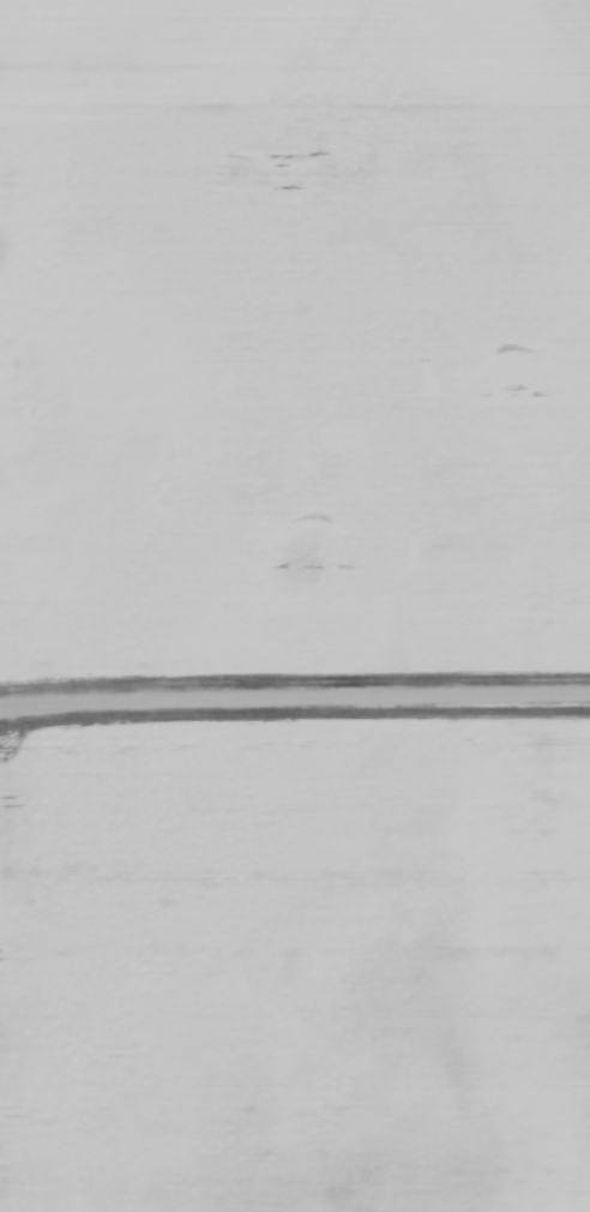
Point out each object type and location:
road: (294, 692)

